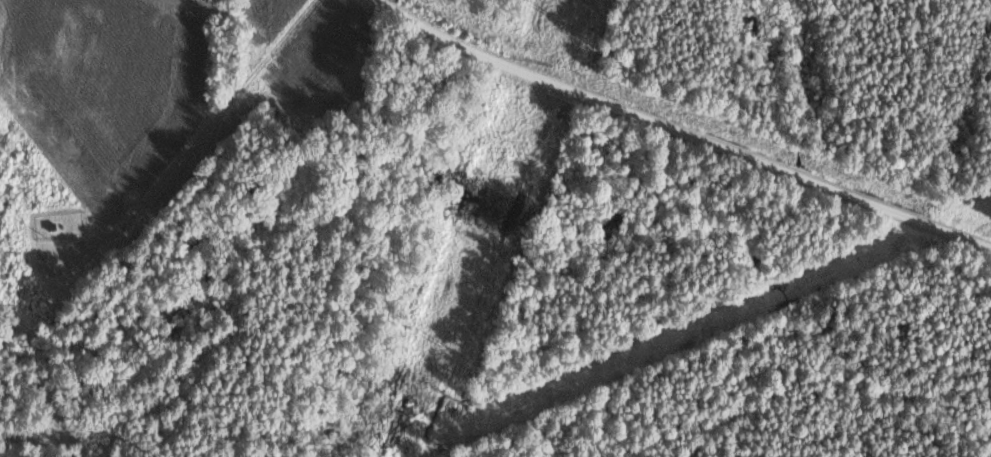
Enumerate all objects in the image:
power tower: (558, 20)
road: (681, 132)
power tower: (442, 347)

